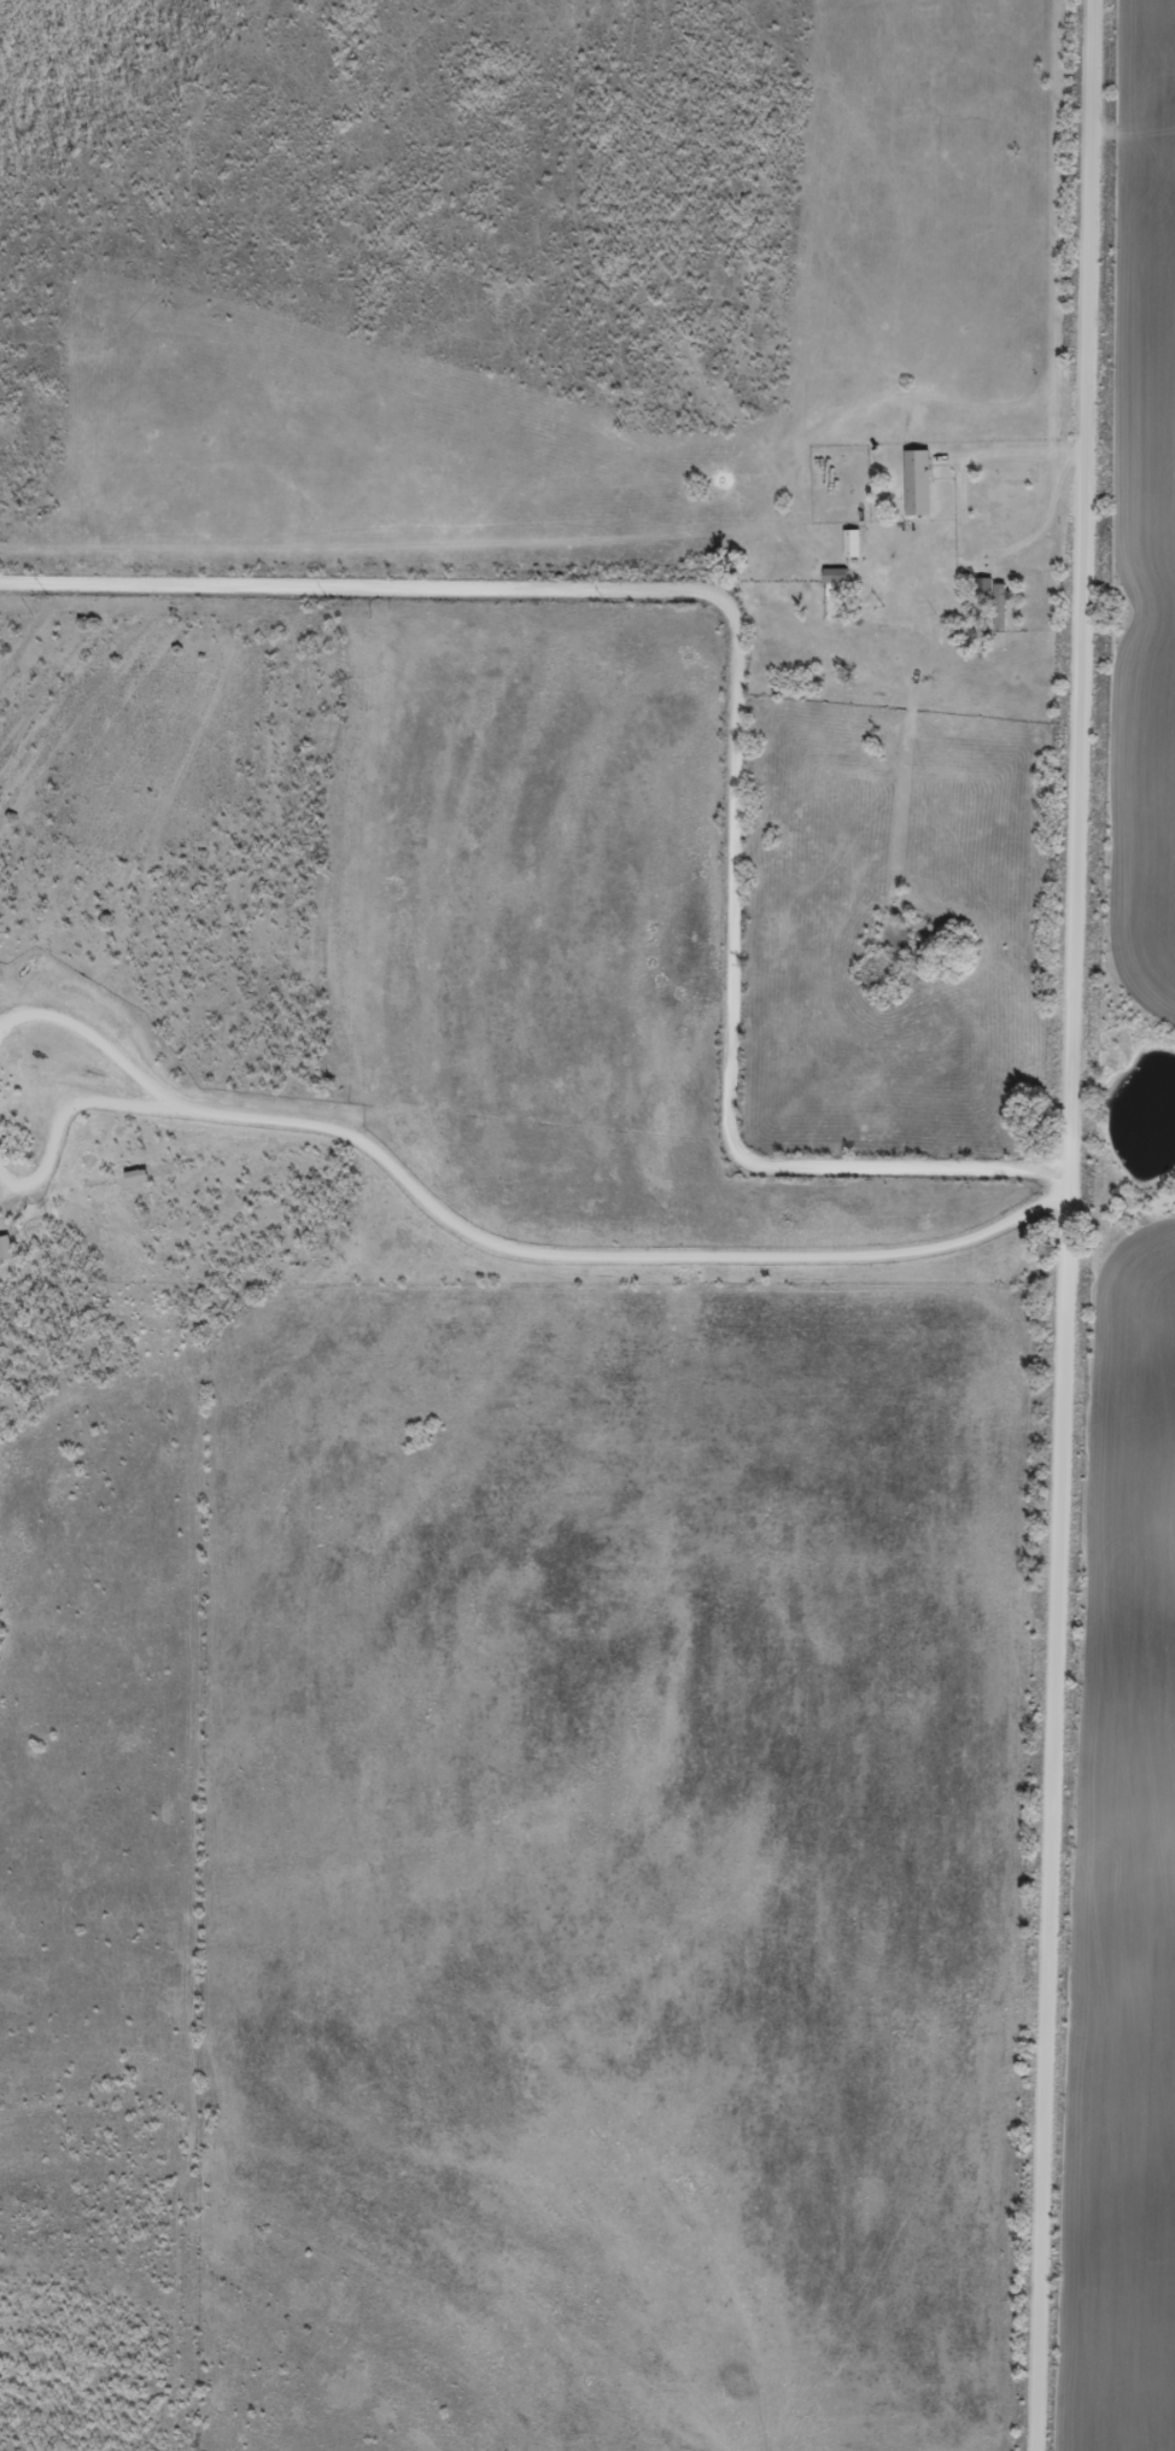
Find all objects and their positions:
building: (916, 492)
building: (849, 553)
building: (981, 596)
building: (998, 615)
road: (736, 691)
road: (1065, 1225)
road: (501, 1256)
building: (4, 1257)

